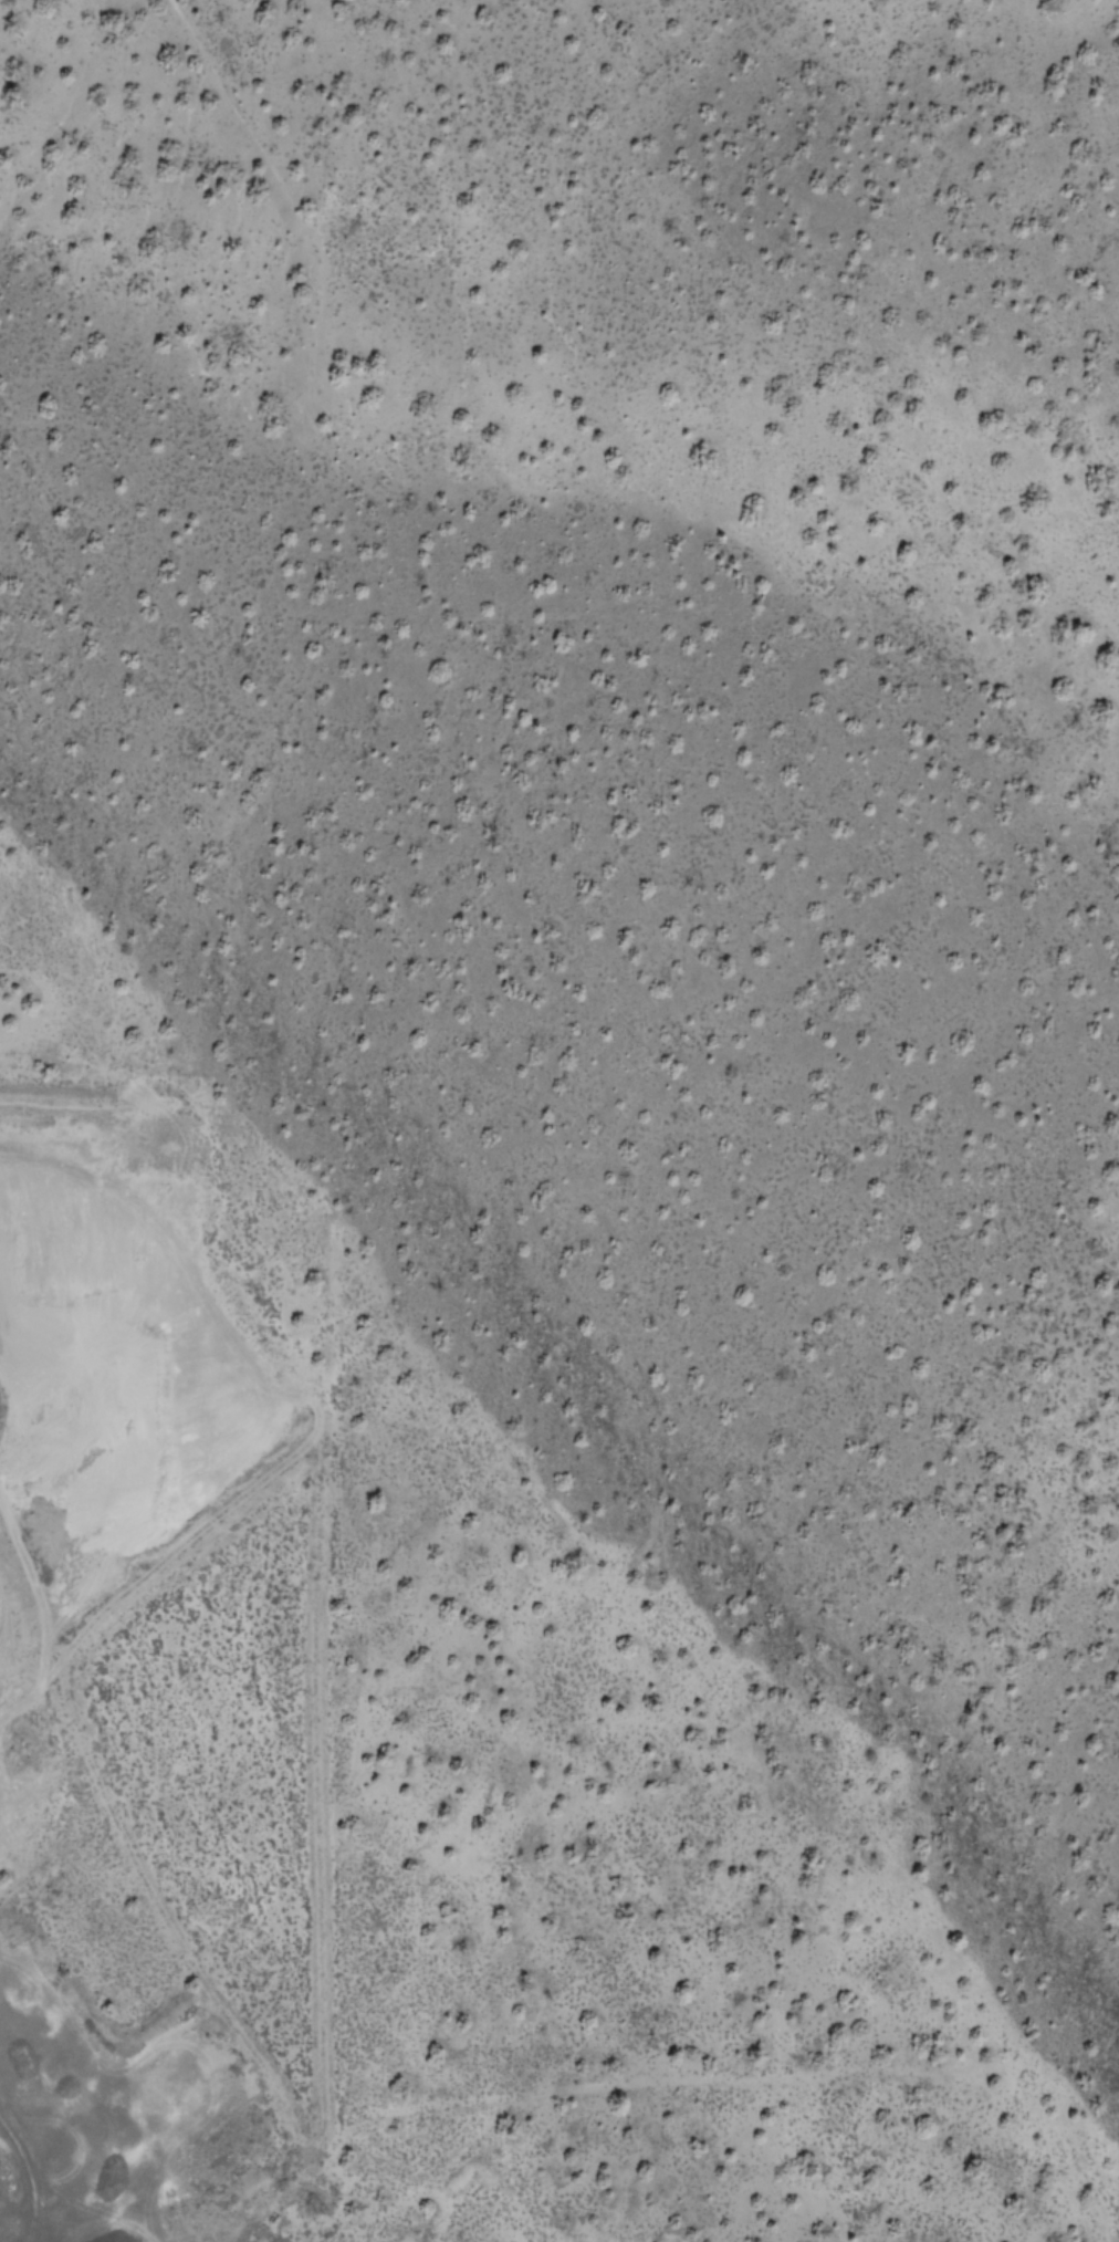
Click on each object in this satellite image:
quarry: (178, 1703)

